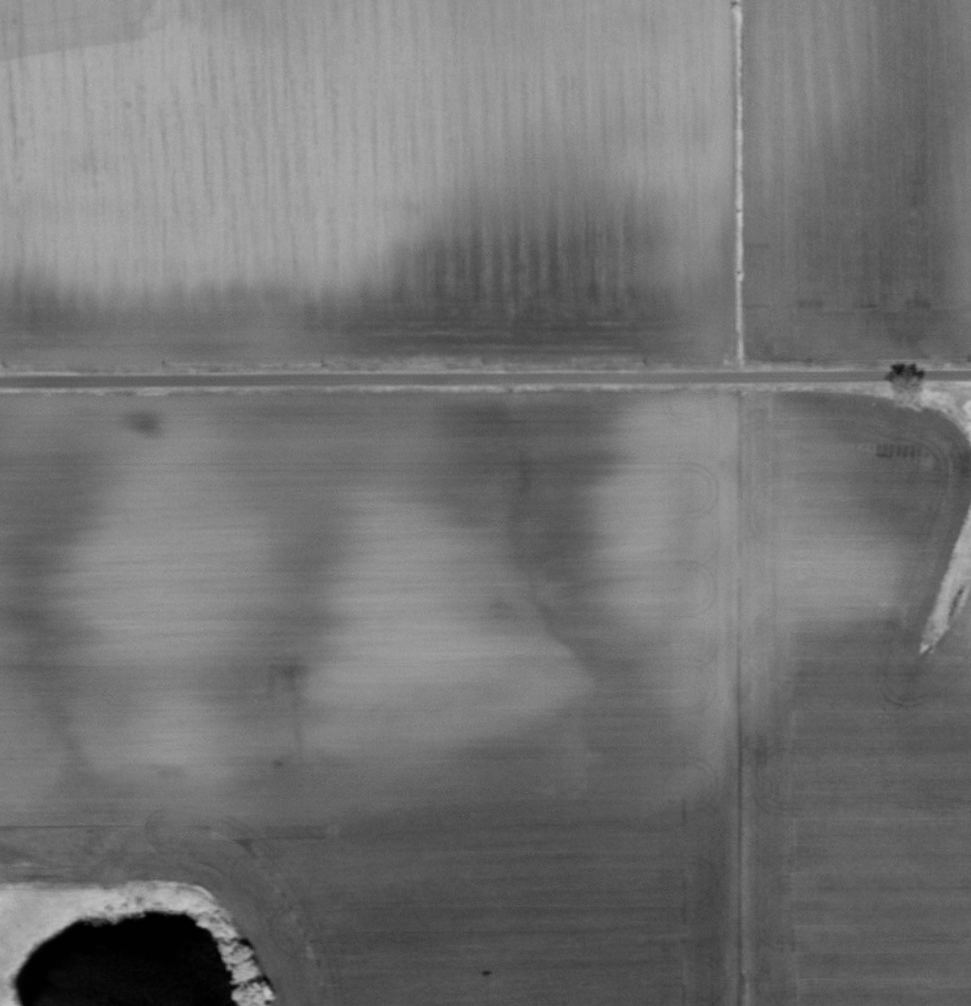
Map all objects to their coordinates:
road: (485, 376)

